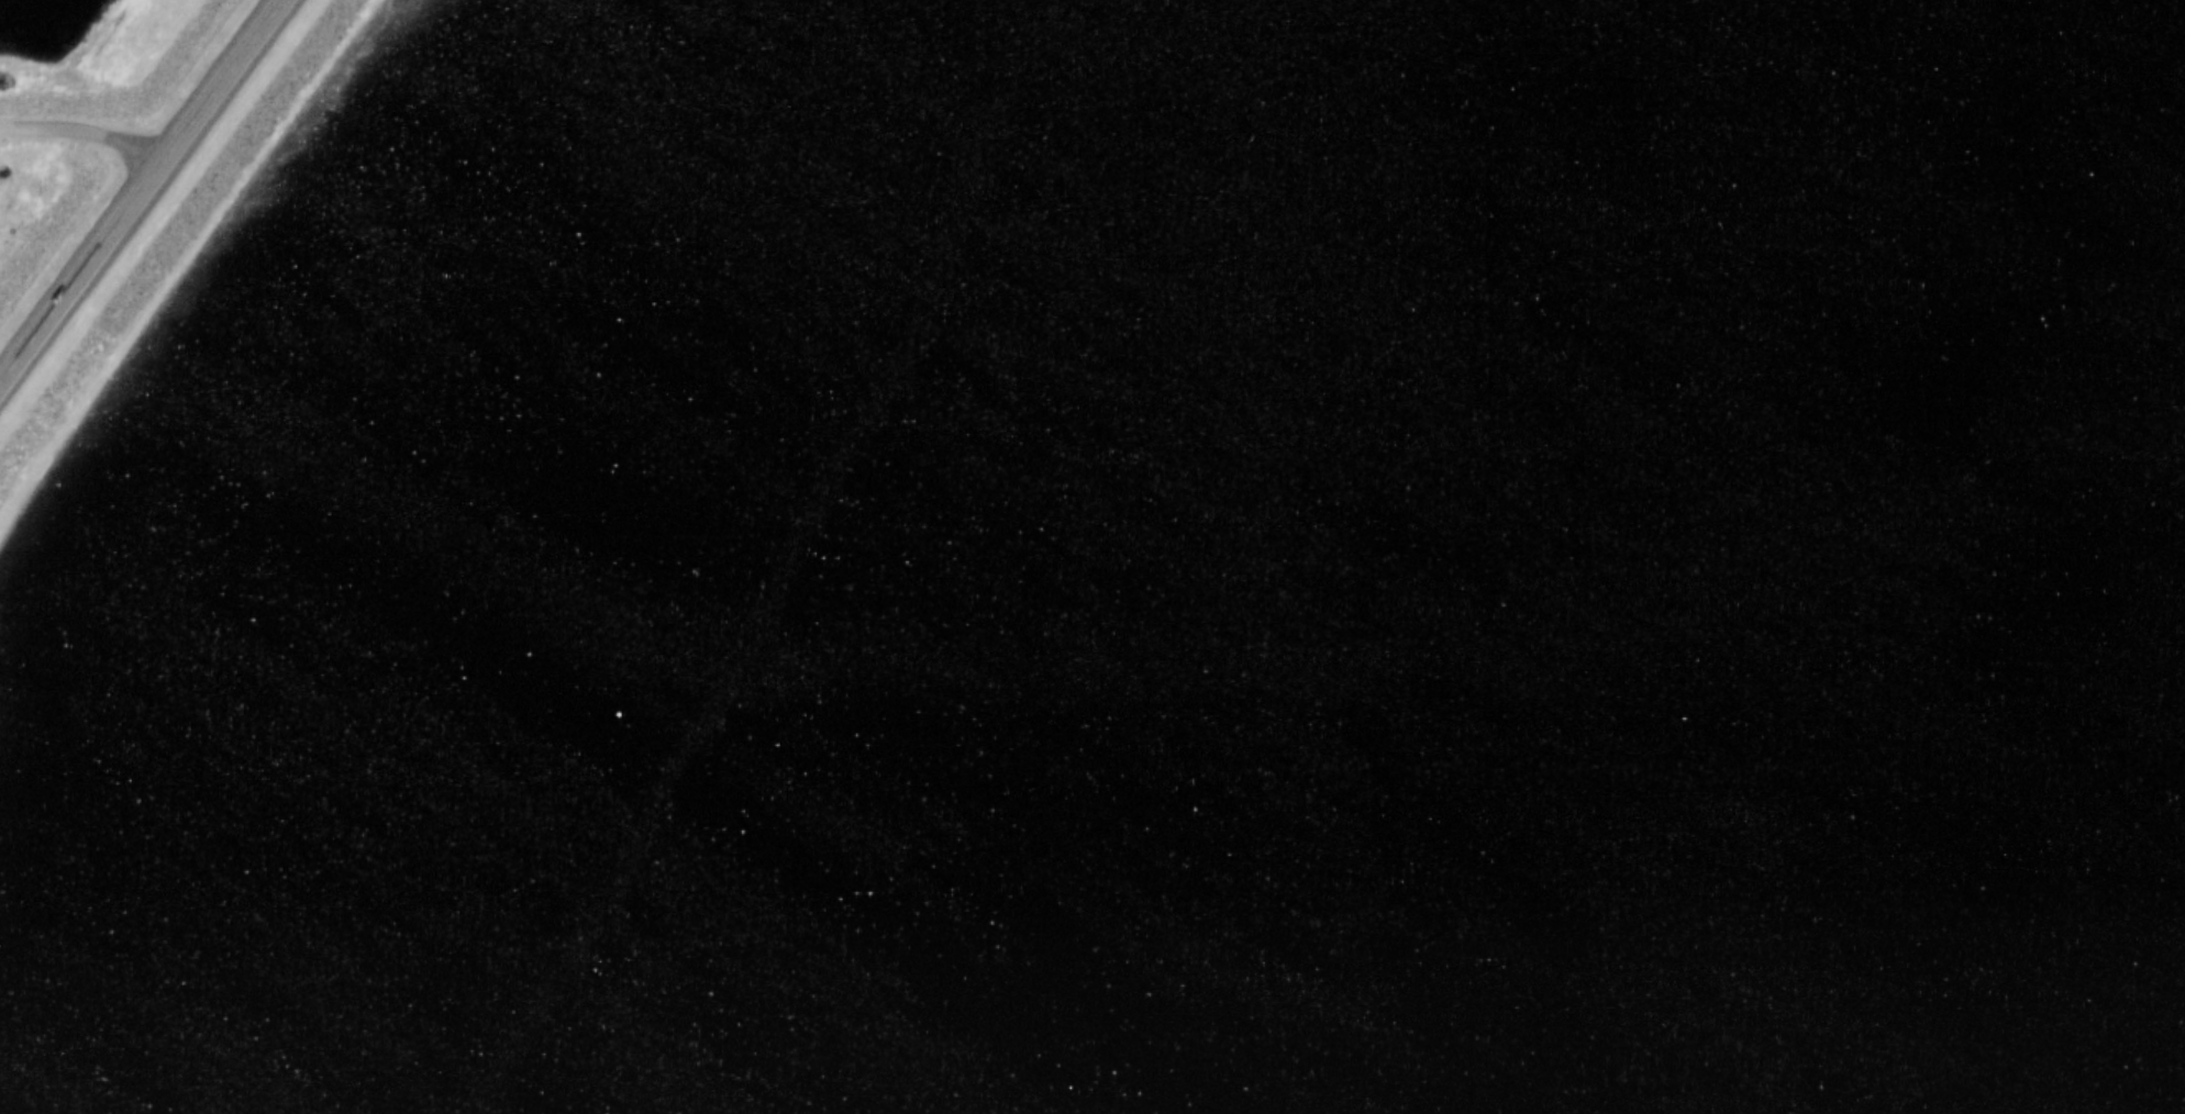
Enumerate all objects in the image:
road: (95, 127)
road: (148, 198)

